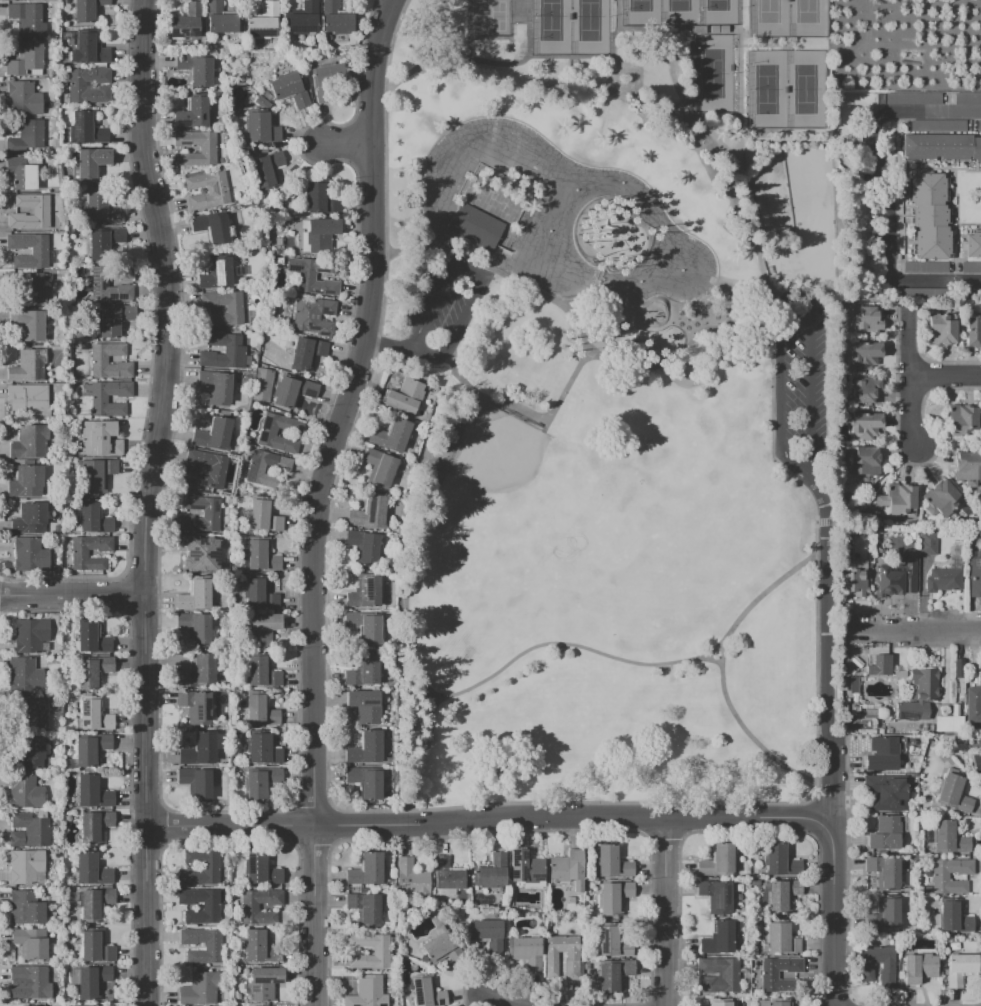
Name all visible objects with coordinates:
building: (86, 9)
park: (679, 9)
park: (717, 9)
park: (641, 10)
park: (490, 15)
building: (337, 18)
park: (768, 18)
park: (804, 18)
building: (27, 19)
building: (220, 19)
building: (303, 19)
building: (187, 22)
building: (264, 22)
park: (588, 23)
park: (552, 24)
road: (491, 39)
building: (88, 49)
road: (470, 50)
building: (25, 58)
road: (584, 58)
road: (478, 61)
building: (195, 69)
park: (712, 72)
building: (324, 80)
building: (88, 85)
park: (767, 85)
park: (805, 86)
building: (288, 91)
building: (23, 98)
building: (911, 98)
building: (966, 98)
road: (741, 111)
building: (192, 113)
building: (87, 128)
building: (261, 128)
road: (706, 129)
building: (25, 137)
road: (344, 143)
building: (941, 147)
building: (207, 150)
road: (741, 150)
building: (90, 163)
building: (266, 168)
building: (22, 171)
road: (882, 186)
building: (218, 191)
building: (321, 200)
building: (101, 209)
building: (40, 210)
building: (929, 215)
building: (476, 226)
building: (212, 228)
building: (318, 234)
building: (104, 241)
building: (973, 244)
building: (38, 252)
road: (405, 253)
building: (924, 266)
building: (970, 266)
road: (480, 273)
building: (215, 274)
building: (313, 276)
building: (99, 282)
building: (31, 288)
road: (167, 296)
road: (791, 296)
road: (551, 299)
parking lot: (445, 304)
building: (233, 311)
building: (313, 315)
building: (113, 319)
building: (866, 319)
building: (28, 324)
building: (940, 330)
building: (973, 332)
road: (385, 345)
building: (223, 352)
building: (306, 353)
building: (864, 354)
building: (108, 362)
road: (609, 362)
building: (27, 365)
road: (947, 376)
road: (914, 378)
parking lot: (800, 380)
building: (262, 385)
building: (215, 387)
building: (865, 389)
building: (293, 390)
building: (403, 396)
building: (99, 400)
building: (28, 401)
park: (617, 403)
building: (960, 419)
building: (865, 425)
building: (267, 431)
building: (215, 435)
building: (390, 435)
building: (98, 438)
building: (29, 441)
building: (863, 462)
building: (205, 468)
building: (255, 468)
building: (379, 468)
building: (967, 468)
building: (96, 473)
park: (511, 475)
building: (26, 481)
road: (872, 492)
road: (318, 498)
building: (939, 498)
building: (897, 499)
building: (210, 512)
building: (369, 513)
building: (263, 515)
building: (29, 519)
building: (93, 519)
road: (822, 524)
road: (817, 530)
building: (927, 546)
building: (363, 547)
road: (827, 547)
building: (199, 552)
building: (29, 554)
building: (79, 555)
building: (261, 555)
building: (974, 578)
building: (942, 580)
building: (893, 581)
building: (853, 583)
building: (365, 591)
road: (72, 594)
building: (259, 595)
building: (194, 596)
road: (757, 600)
road: (834, 626)
building: (364, 627)
road: (910, 627)
building: (195, 628)
building: (262, 629)
building: (29, 635)
building: (90, 639)
road: (713, 652)
building: (879, 665)
building: (958, 668)
building: (198, 670)
building: (363, 671)
building: (91, 672)
building: (262, 672)
building: (25, 675)
building: (979, 676)
road: (486, 680)
road: (829, 680)
building: (853, 684)
building: (919, 695)
building: (973, 704)
building: (195, 706)
building: (364, 706)
building: (260, 711)
building: (33, 714)
building: (94, 716)
building: (365, 748)
building: (90, 749)
building: (198, 749)
building: (262, 749)
building: (31, 753)
building: (881, 754)
building: (976, 763)
road: (420, 764)
building: (365, 782)
road: (839, 782)
building: (195, 783)
building: (261, 783)
building: (92, 791)
building: (24, 792)
building: (885, 792)
building: (954, 793)
road: (147, 799)
road: (489, 820)
building: (94, 826)
building: (28, 830)
building: (886, 832)
building: (945, 837)
building: (780, 860)
building: (717, 861)
building: (612, 862)
building: (25, 865)
building: (210, 866)
building: (526, 868)
building: (90, 869)
building: (261, 869)
building: (567, 869)
building: (365, 870)
road: (832, 870)
building: (490, 871)
road: (847, 871)
building: (884, 872)
building: (448, 874)
building: (939, 878)
building: (411, 879)
building: (716, 892)
building: (782, 895)
building: (614, 897)
building: (95, 903)
building: (210, 907)
building: (25, 908)
building: (249, 908)
building: (365, 908)
road: (667, 912)
building: (884, 913)
building: (954, 917)
building: (486, 934)
building: (717, 937)
building: (780, 938)
building: (31, 943)
building: (612, 943)
building: (95, 945)
building: (212, 947)
building: (260, 947)
building: (441, 948)
building: (380, 950)
building: (524, 951)
building: (571, 956)
building: (887, 967)
building: (918, 967)
building: (960, 968)
building: (718, 974)
building: (613, 975)
building: (769, 975)
building: (32, 981)
building: (92, 981)
building: (263, 983)
building: (199, 988)
building: (367, 992)
building: (426, 992)
road: (842, 992)
road: (507, 1002)
building: (721, 1003)
building: (777, 1003)
building: (31, 1005)
building: (89, 1005)
road: (864, 1005)
road: (917, 1005)

